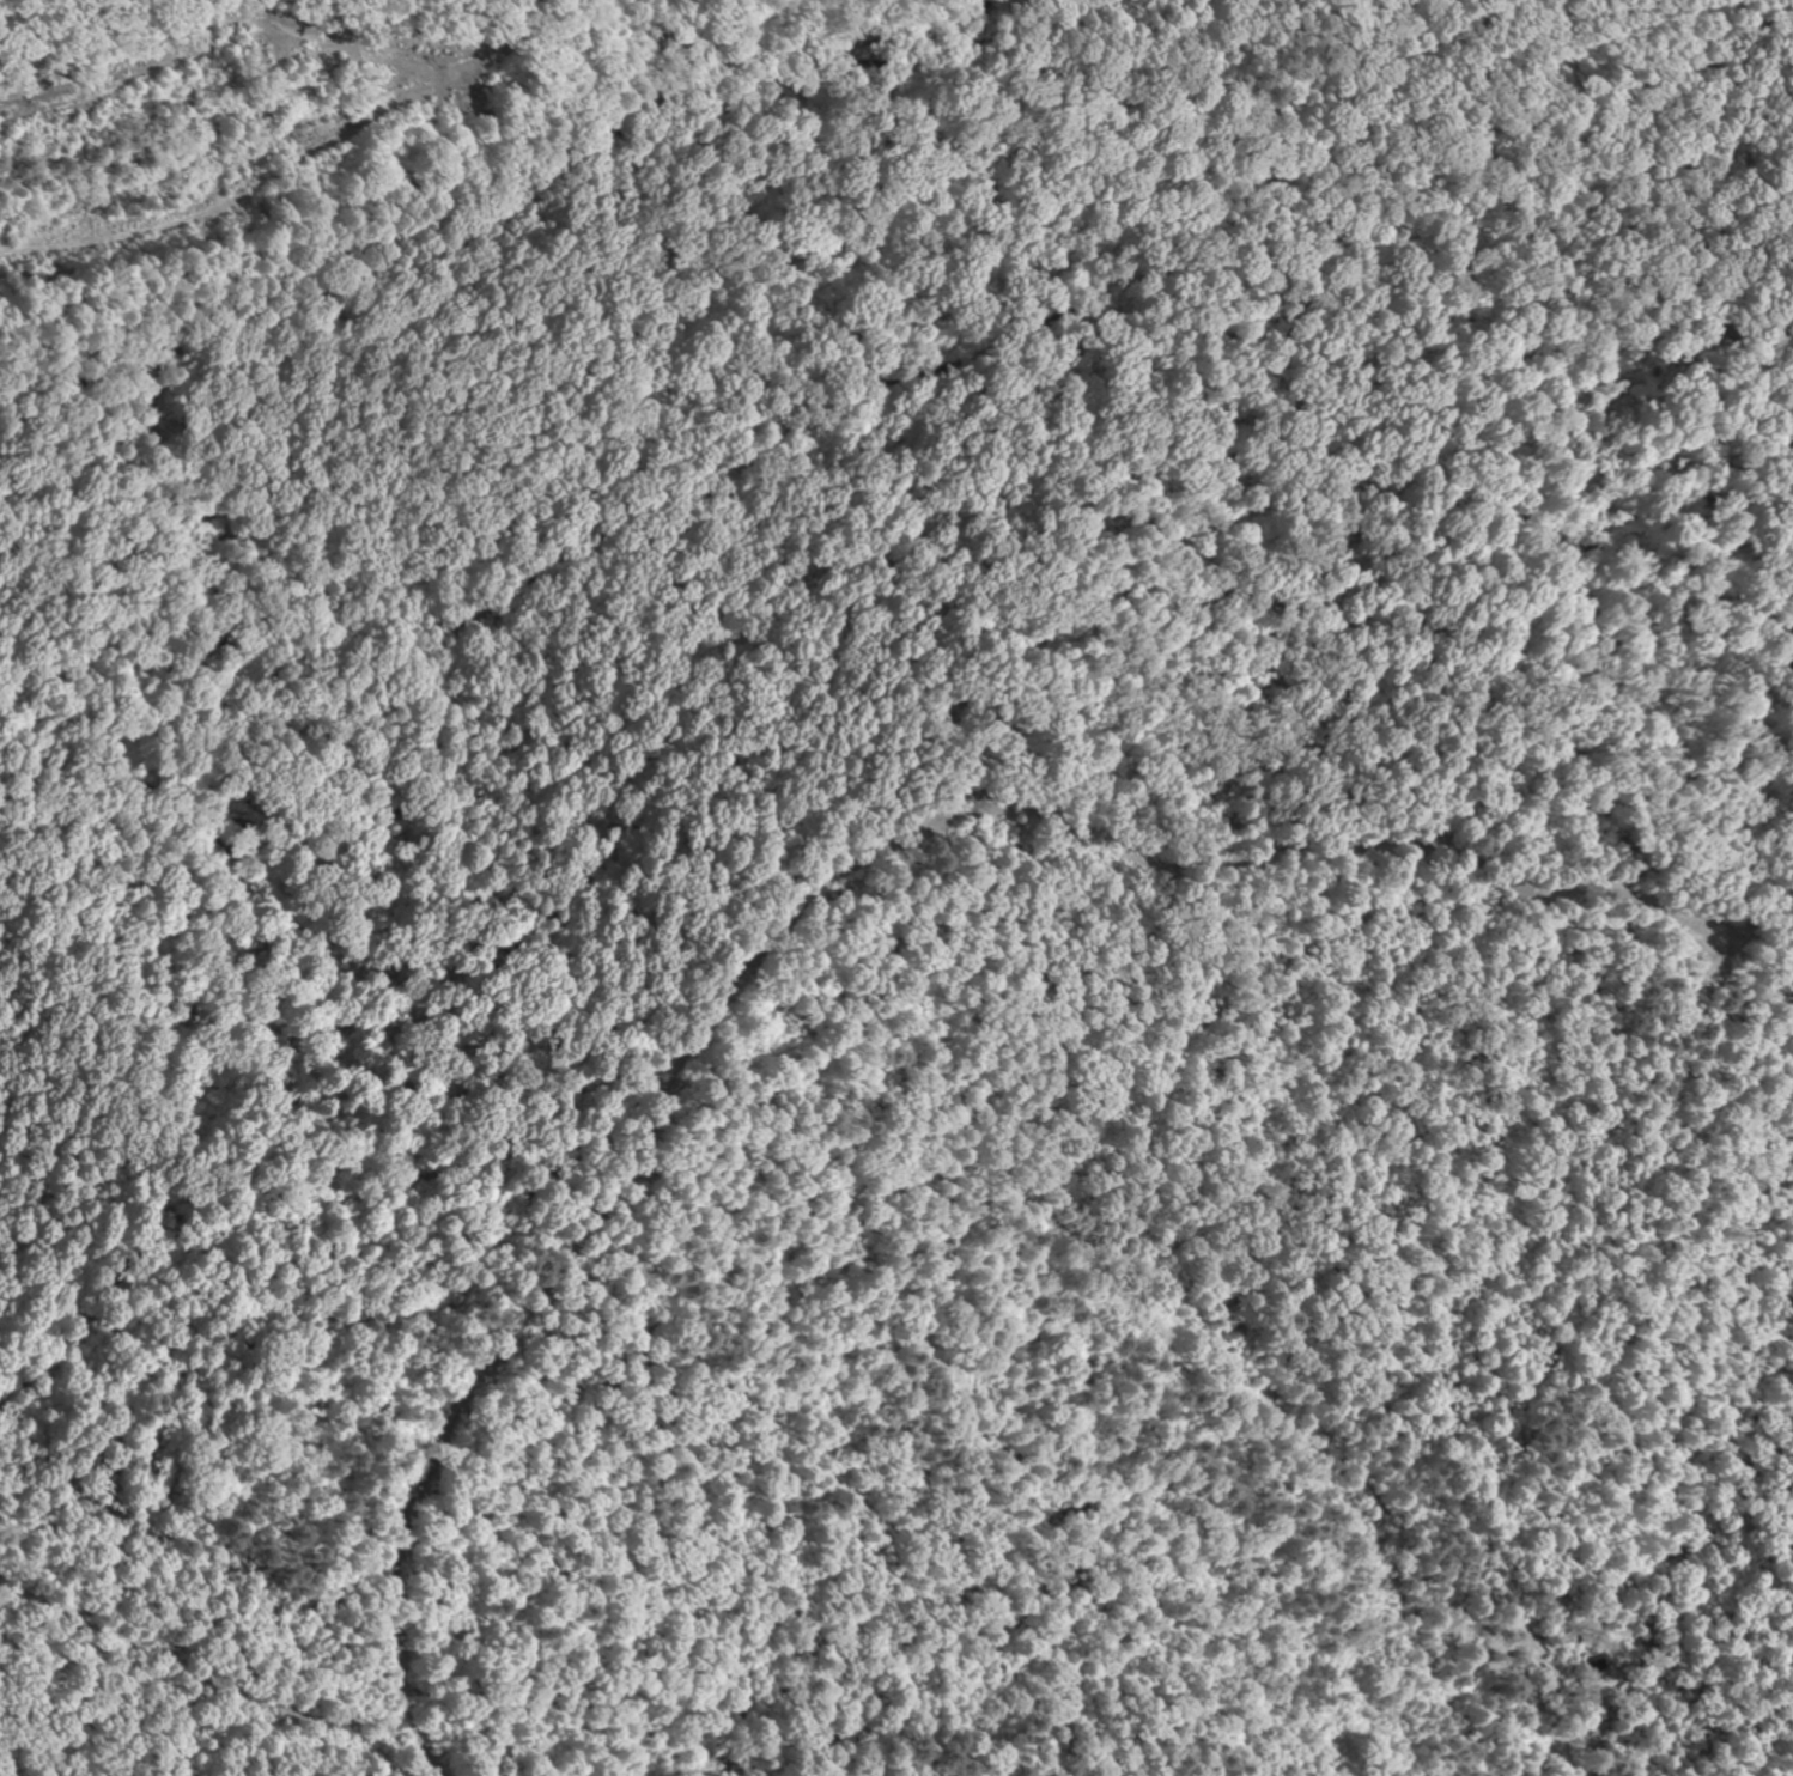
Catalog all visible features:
building: (1594, 1661)

